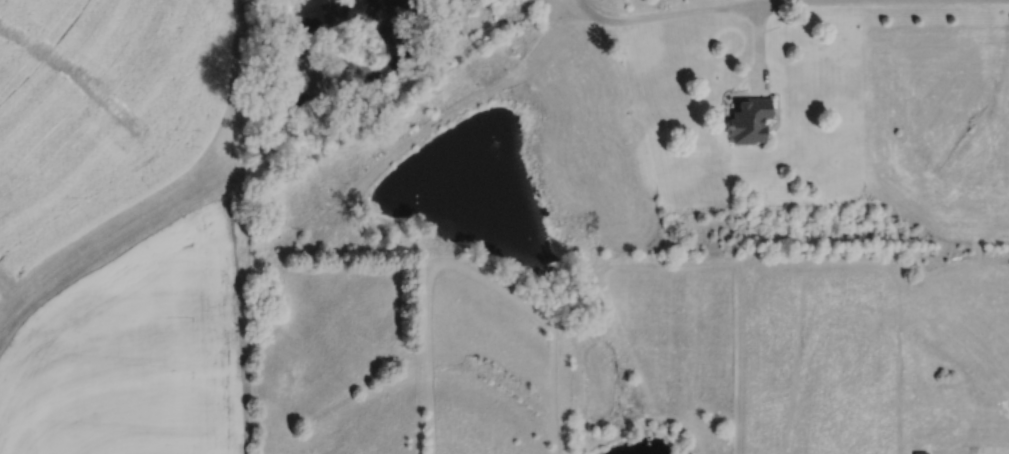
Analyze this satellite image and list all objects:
road: (839, 4)
road: (669, 12)
building: (750, 120)
building: (941, 421)
dam: (622, 431)

